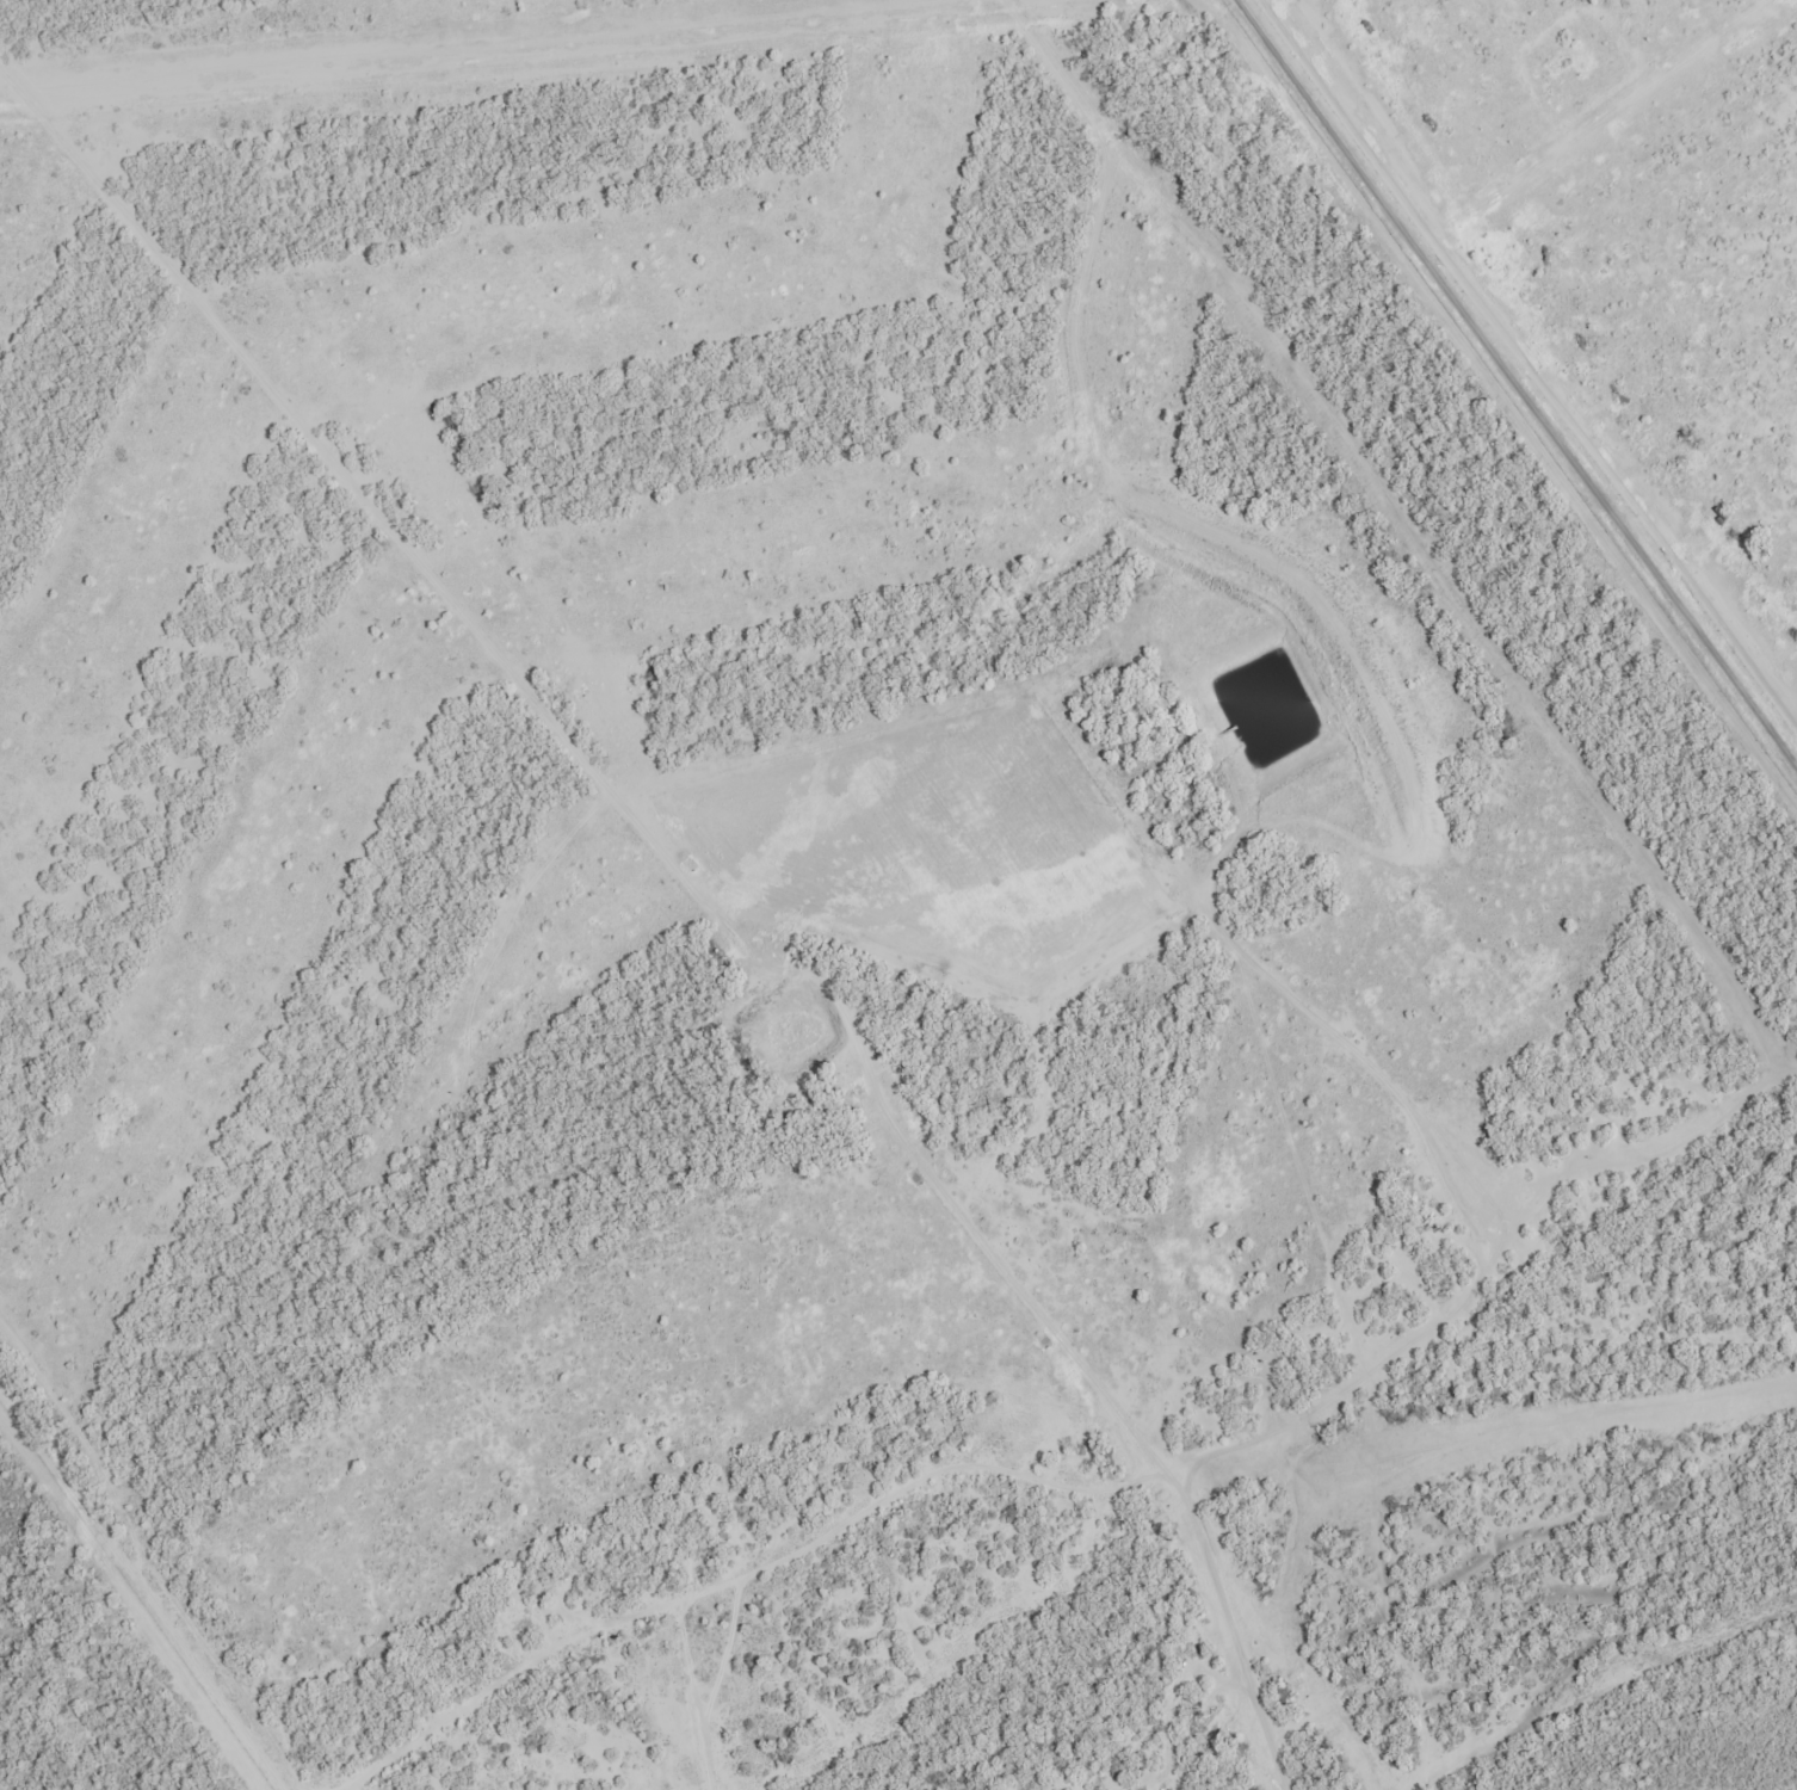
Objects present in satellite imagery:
road: (1518, 377)

